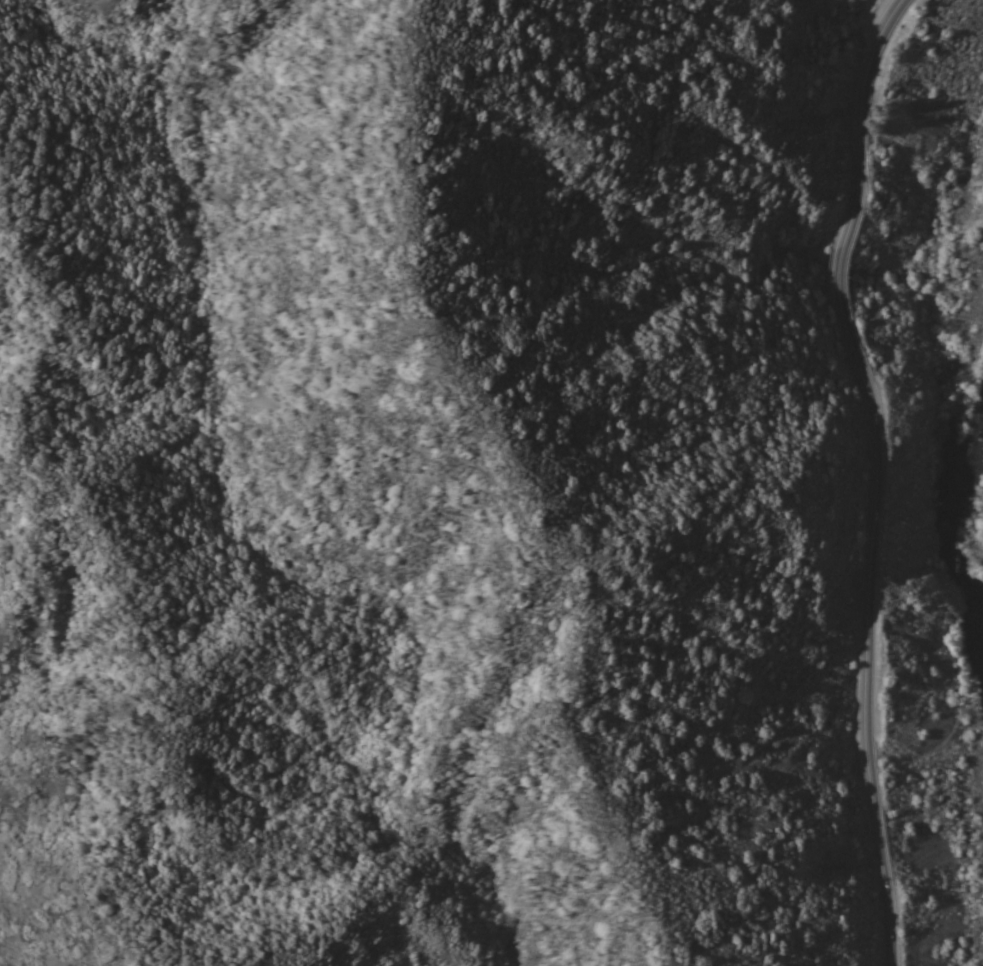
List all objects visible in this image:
road: (881, 474)
river: (971, 502)

